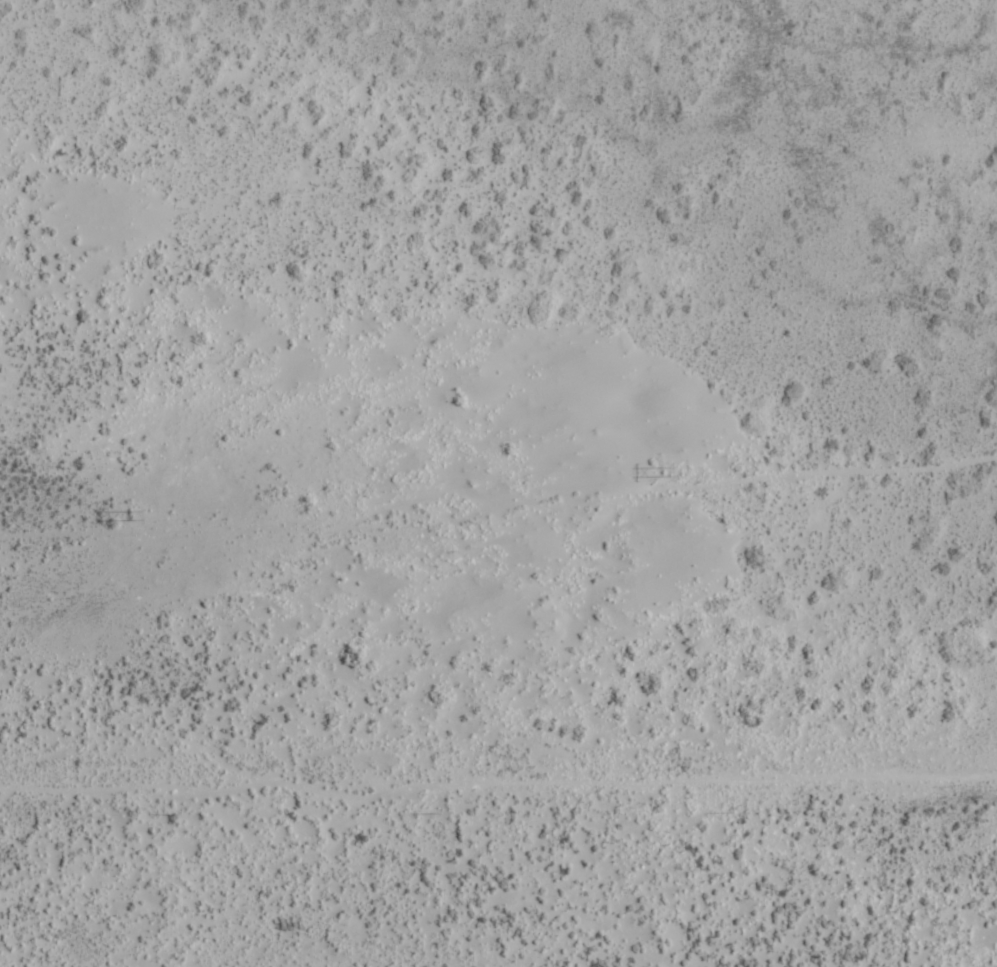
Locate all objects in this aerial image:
road: (499, 503)

